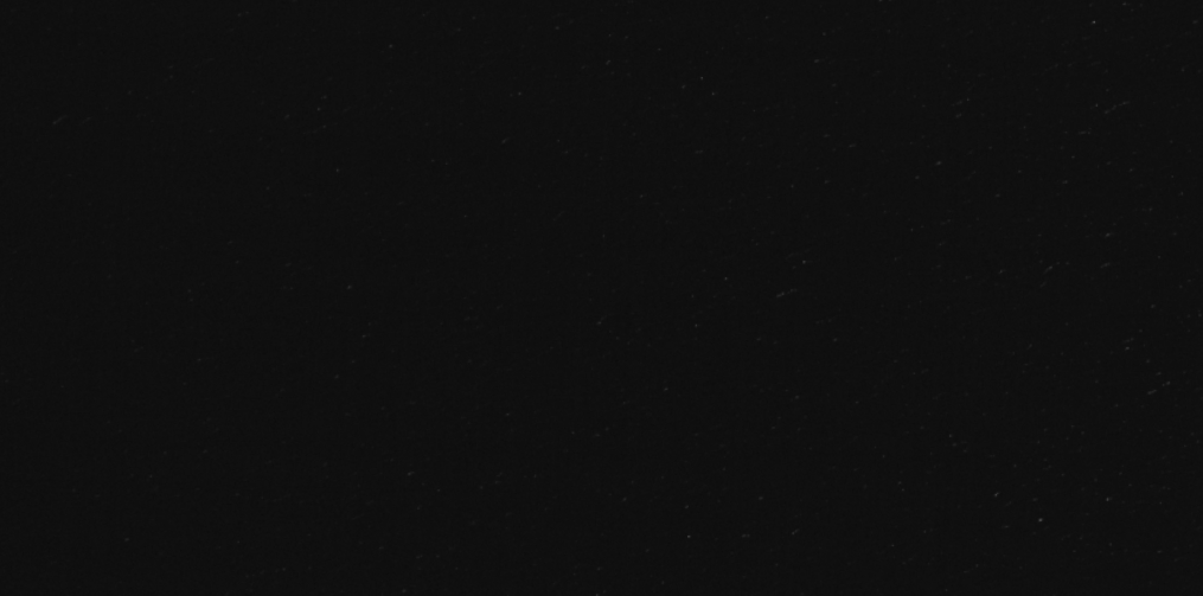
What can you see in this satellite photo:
river: (922, 297)

